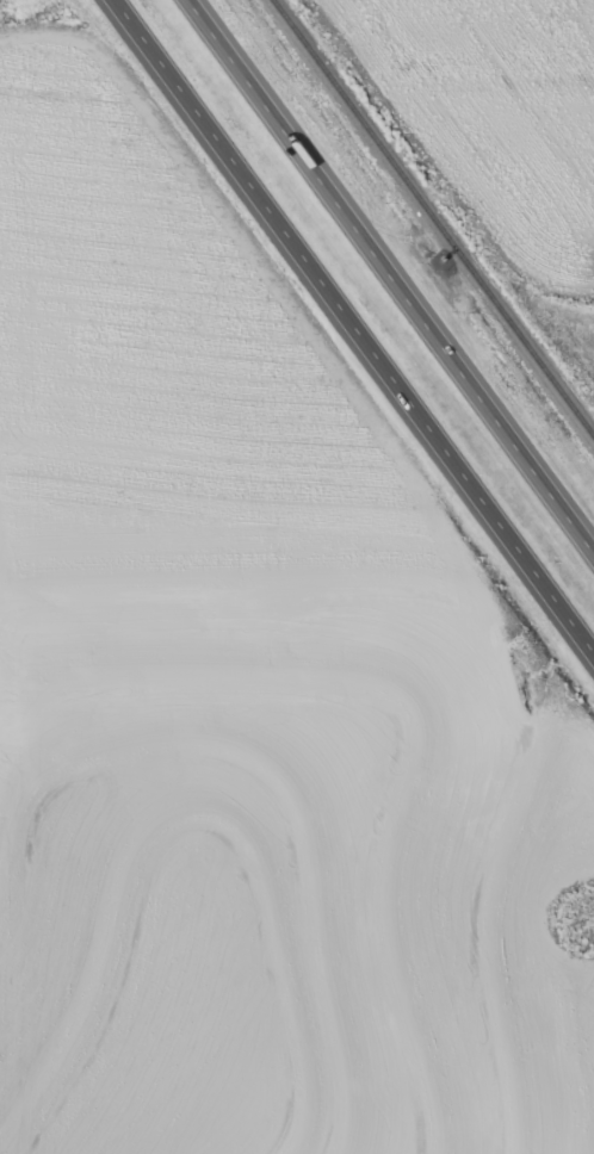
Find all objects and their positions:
railway: (438, 207)
road: (392, 268)
road: (353, 328)

